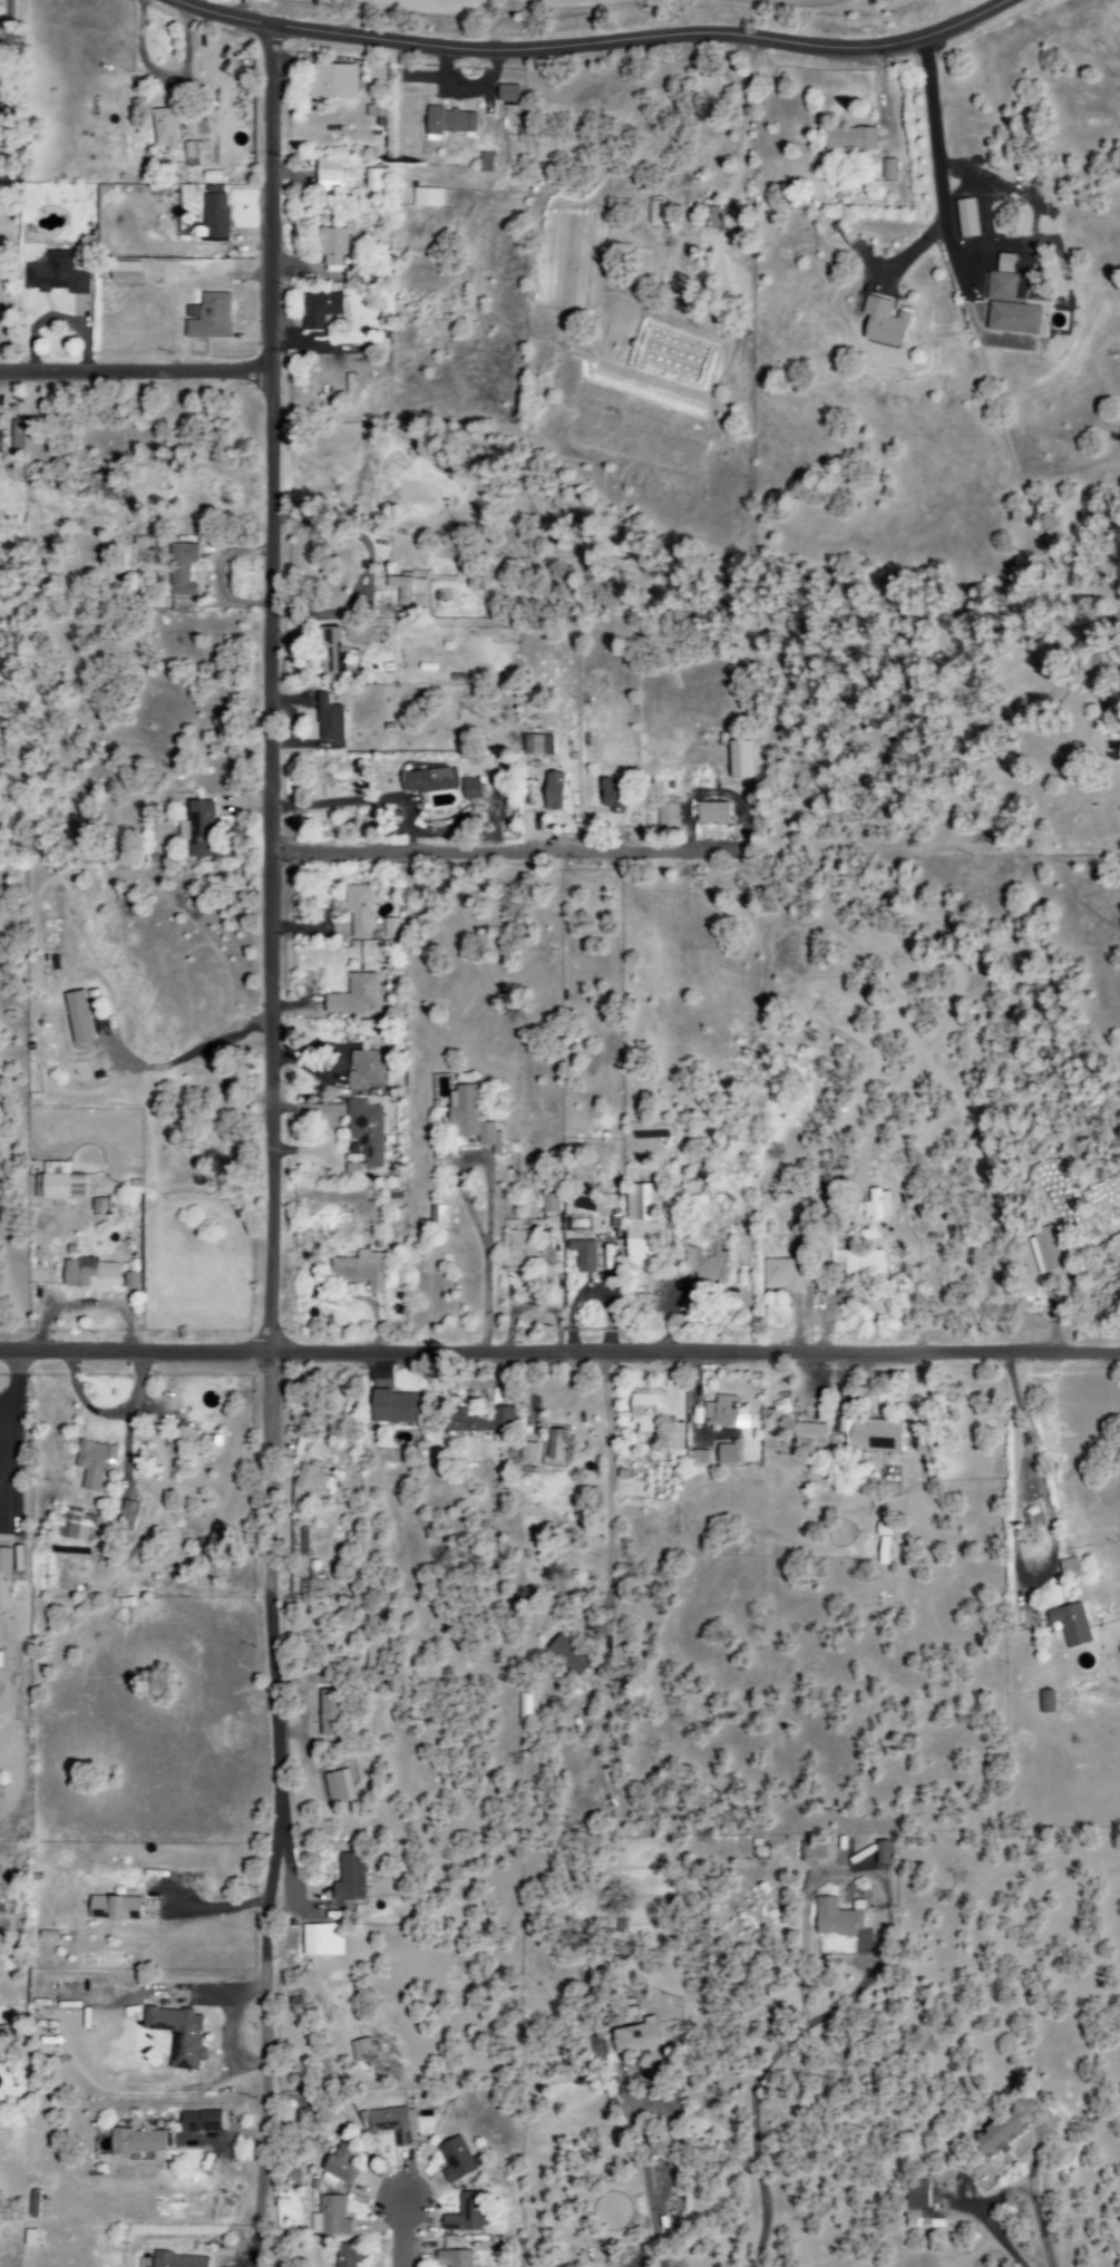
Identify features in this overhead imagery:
road: (592, 46)
building: (332, 81)
building: (506, 94)
building: (448, 121)
building: (165, 128)
building: (849, 139)
building: (189, 150)
building: (484, 162)
building: (887, 171)
building: (329, 175)
building: (370, 192)
building: (426, 197)
building: (709, 218)
building: (965, 218)
building: (333, 246)
building: (124, 272)
building: (53, 274)
building: (1009, 304)
building: (320, 310)
building: (208, 318)
building: (882, 323)
road: (136, 372)
building: (181, 571)
building: (408, 593)
road: (1107, 623)
building: (332, 659)
road: (1093, 683)
building: (328, 720)
building: (536, 746)
building: (737, 760)
building: (427, 780)
building: (469, 789)
building: (552, 791)
building: (610, 794)
building: (711, 814)
building: (665, 816)
building: (198, 829)
road: (507, 837)
building: (358, 911)
building: (391, 928)
building: (353, 996)
building: (77, 1018)
building: (363, 1071)
building: (468, 1118)
building: (363, 1132)
road: (272, 1146)
building: (58, 1184)
building: (549, 1204)
building: (876, 1205)
building: (436, 1217)
building: (642, 1226)
building: (1043, 1251)
building: (517, 1252)
building: (583, 1255)
building: (705, 1262)
building: (861, 1263)
building: (86, 1271)
building: (360, 1271)
building: (780, 1276)
building: (129, 1281)
road: (559, 1354)
building: (395, 1407)
building: (642, 1410)
building: (722, 1413)
building: (479, 1422)
building: (869, 1433)
building: (809, 1434)
building: (187, 1436)
road: (1023, 1443)
building: (556, 1444)
building: (528, 1453)
building: (727, 1453)
building: (699, 1458)
building: (94, 1463)
building: (310, 1478)
road: (603, 1491)
building: (126, 1515)
building: (75, 1525)
building: (3, 1564)
building: (1068, 1567)
building: (1069, 1624)
building: (376, 1652)
building: (0, 1654)
building: (567, 1655)
building: (1045, 1702)
building: (330, 1712)
building: (337, 1787)
building: (811, 1850)
building: (882, 1852)
building: (349, 1878)
building: (113, 1908)
building: (836, 1918)
building: (320, 1939)
building: (7, 2034)
building: (177, 2035)
building: (636, 2037)
building: (361, 2050)
road: (752, 2094)
building: (198, 2122)
building: (391, 2123)
building: (997, 2134)
building: (136, 2142)
building: (456, 2160)
building: (337, 2168)
building: (916, 2195)
building: (467, 2215)
building: (330, 2217)
building: (918, 2218)
road: (402, 2232)
building: (345, 2255)
building: (452, 2258)
building: (178, 2260)

